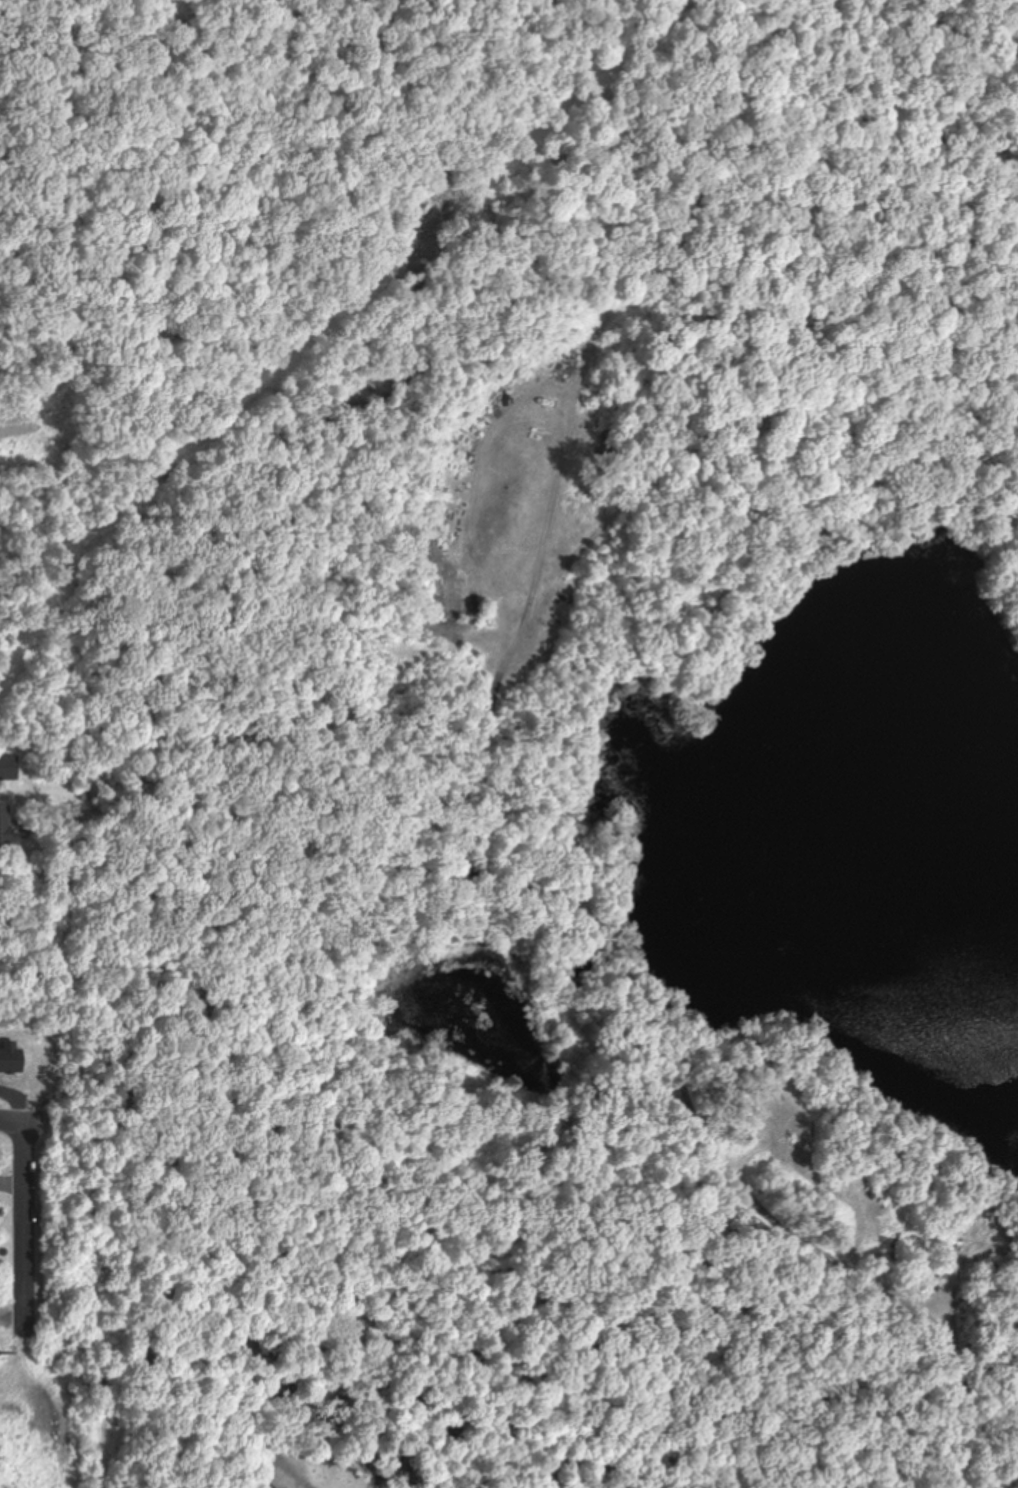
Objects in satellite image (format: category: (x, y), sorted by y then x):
building: (435, 483)
building: (5, 830)
road: (31, 1126)
road: (28, 1230)

